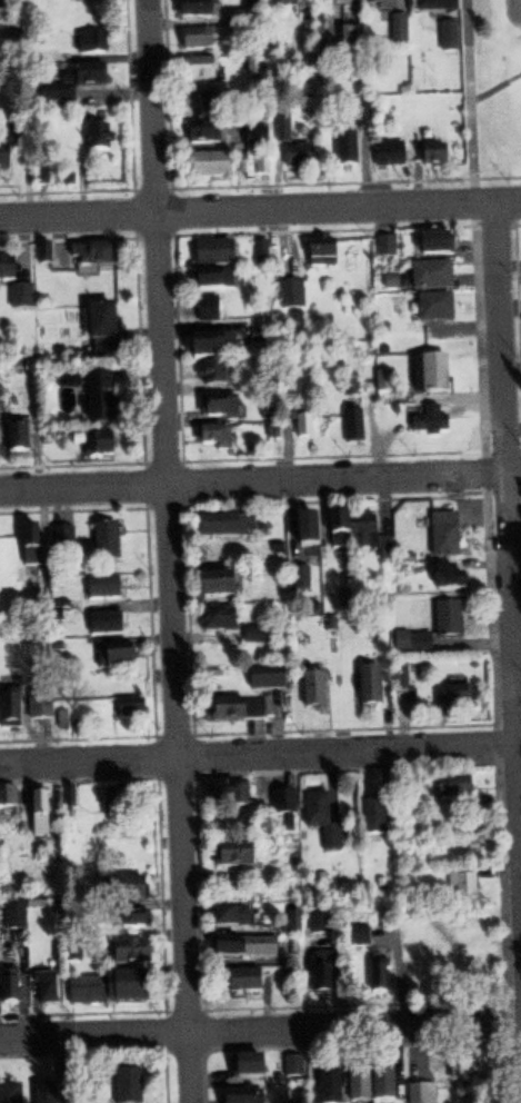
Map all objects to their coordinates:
park: (500, 83)

